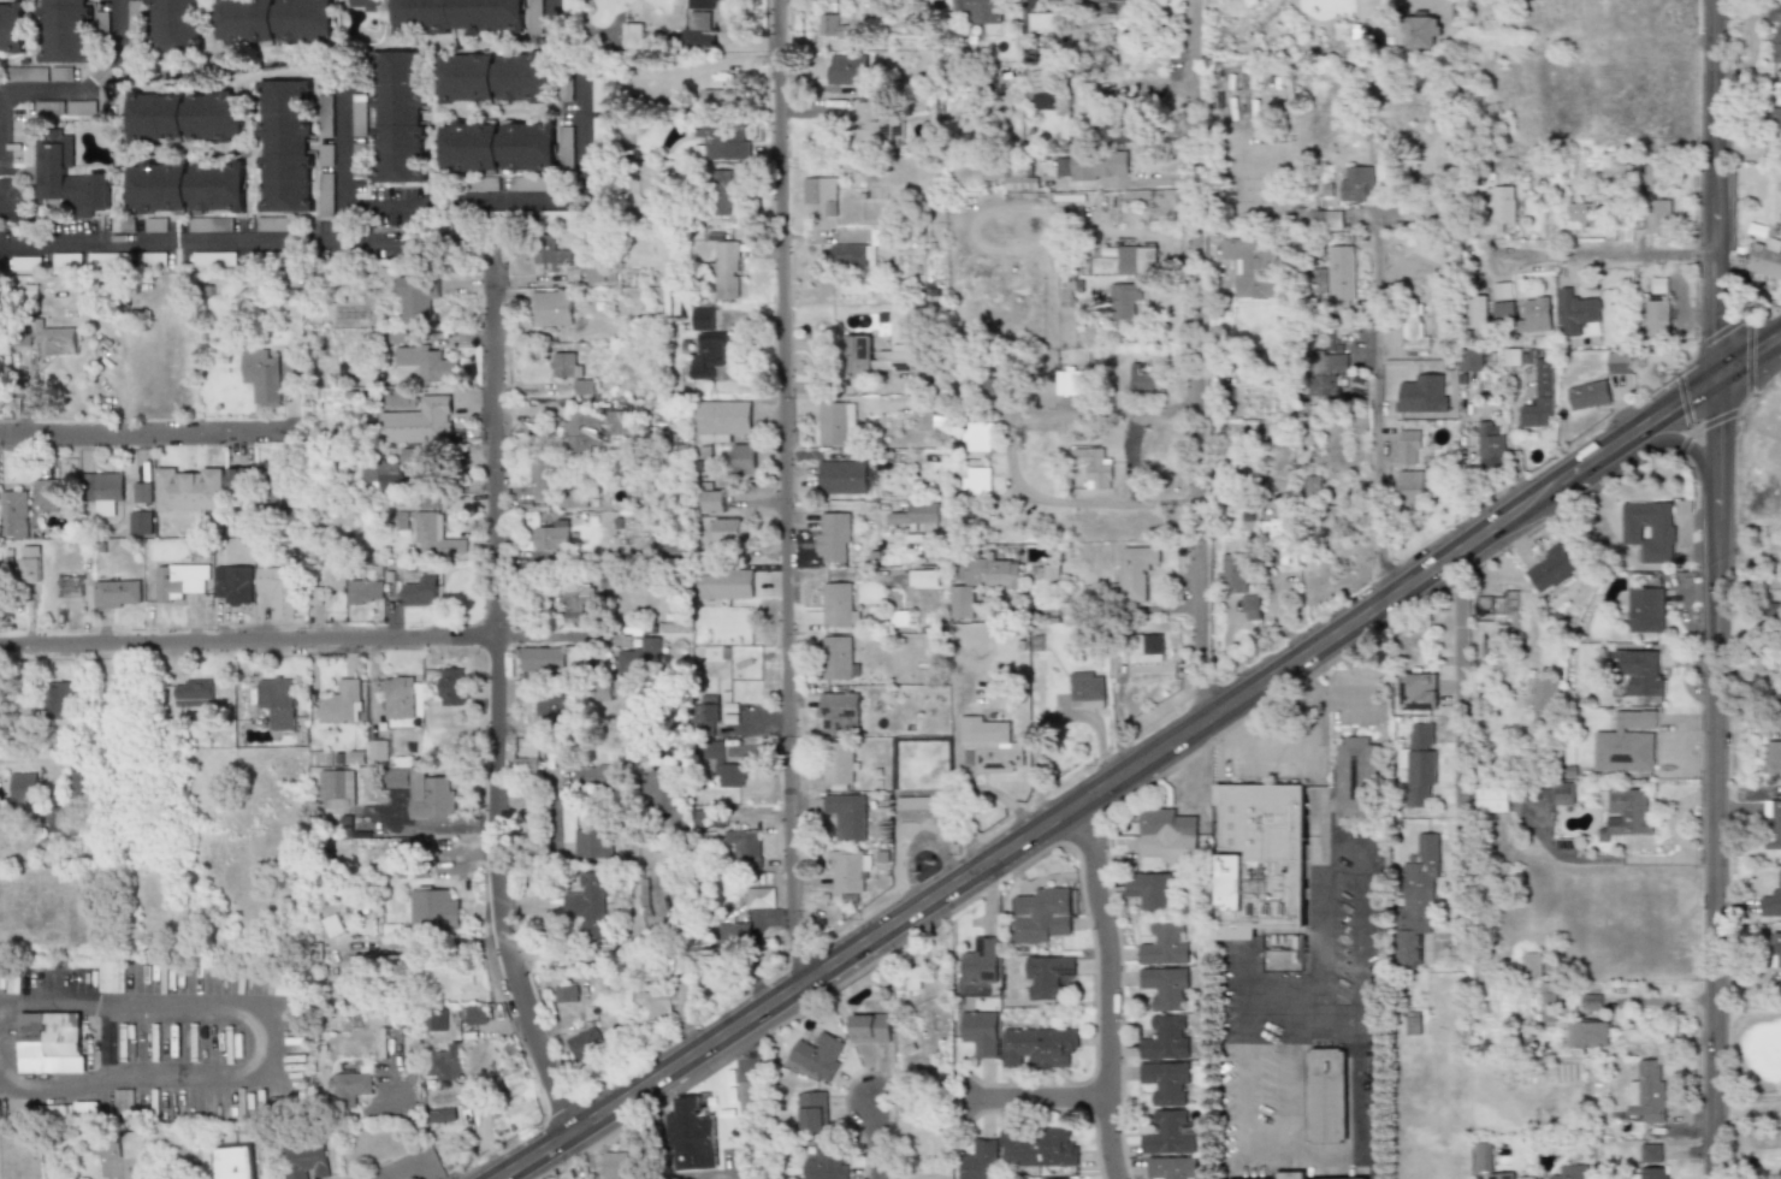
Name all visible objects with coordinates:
road: (1427, 2)
building: (367, 5)
building: (702, 5)
building: (1120, 8)
building: (135, 10)
building: (980, 10)
building: (458, 17)
building: (274, 22)
building: (1048, 23)
building: (177, 25)
building: (12, 26)
building: (835, 28)
building: (66, 30)
building: (1349, 30)
building: (1422, 31)
building: (1774, 34)
building: (634, 35)
building: (699, 38)
building: (848, 69)
road: (1194, 69)
building: (61, 73)
building: (26, 75)
building: (495, 77)
road: (40, 89)
building: (600, 91)
building: (1776, 93)
building: (1046, 96)
building: (721, 100)
building: (185, 117)
building: (398, 117)
building: (1774, 119)
building: (880, 128)
building: (1119, 130)
building: (599, 132)
building: (497, 144)
building: (284, 147)
building: (566, 147)
building: (726, 147)
building: (1094, 165)
road: (342, 167)
building: (1616, 172)
building: (1646, 174)
building: (69, 178)
building: (1022, 178)
building: (1359, 184)
building: (187, 188)
road: (1710, 188)
building: (721, 191)
building: (821, 192)
road: (563, 201)
road: (4, 207)
building: (1499, 209)
building: (1588, 211)
building: (1658, 215)
building: (1326, 219)
road: (460, 223)
building: (208, 224)
building: (273, 224)
road: (20, 225)
building: (888, 236)
road: (407, 241)
road: (483, 241)
road: (187, 244)
road: (17, 247)
building: (550, 253)
building: (853, 255)
road: (1594, 256)
building: (1765, 259)
building: (1138, 260)
building: (724, 267)
building: (1253, 268)
building: (594, 273)
building: (1342, 278)
building: (1658, 285)
building: (1502, 290)
building: (1065, 291)
building: (415, 298)
building: (1123, 301)
building: (551, 308)
building: (1576, 309)
building: (1503, 310)
building: (1477, 313)
building: (1413, 315)
building: (1534, 316)
building: (700, 319)
building: (1657, 324)
building: (58, 338)
building: (856, 354)
road: (1747, 354)
building: (708, 355)
building: (1511, 357)
building: (1472, 360)
building: (426, 362)
building: (894, 362)
building: (1619, 362)
building: (563, 365)
building: (1, 367)
building: (1327, 369)
building: (270, 373)
building: (1140, 379)
road: (1375, 380)
building: (1071, 385)
building: (581, 386)
building: (1539, 395)
building: (1588, 395)
road: (1678, 403)
building: (922, 407)
building: (415, 417)
building: (722, 420)
road: (1195, 423)
building: (836, 425)
road: (1715, 425)
building: (592, 426)
road: (142, 432)
building: (977, 436)
road: (1684, 443)
building: (1410, 444)
building: (1490, 444)
road: (1010, 450)
building: (414, 455)
road: (1130, 457)
building: (742, 460)
building: (1094, 467)
building: (383, 474)
building: (542, 478)
building: (841, 478)
building: (238, 480)
building: (977, 480)
building: (1310, 485)
building: (1409, 487)
building: (189, 488)
building: (283, 488)
road: (785, 488)
building: (103, 490)
building: (142, 492)
building: (47, 494)
building: (712, 502)
building: (14, 514)
building: (917, 514)
building: (141, 522)
building: (430, 531)
building: (722, 531)
building: (1649, 531)
building: (552, 537)
building: (835, 538)
building: (1274, 541)
building: (1550, 568)
building: (30, 569)
building: (1135, 571)
building: (1235, 573)
building: (335, 577)
building: (927, 579)
building: (178, 581)
building: (981, 583)
building: (69, 585)
building: (233, 585)
building: (723, 588)
building: (277, 591)
building: (366, 591)
building: (421, 591)
building: (117, 593)
building: (576, 605)
building: (839, 605)
building: (1250, 606)
road: (1100, 609)
building: (1645, 610)
building: (1495, 618)
road: (556, 636)
road: (247, 639)
building: (1144, 648)
building: (639, 657)
building: (543, 658)
building: (576, 658)
building: (840, 658)
road: (1747, 668)
building: (1638, 671)
road: (496, 685)
building: (451, 686)
building: (1087, 689)
building: (1419, 691)
building: (193, 692)
building: (1544, 694)
building: (58, 697)
building: (401, 698)
building: (278, 700)
building: (1647, 700)
road: (1320, 701)
building: (342, 704)
building: (552, 709)
building: (839, 712)
road: (1457, 730)
building: (26, 731)
building: (1626, 743)
building: (989, 746)
building: (378, 750)
building: (527, 753)
road: (57, 757)
building: (1773, 757)
building: (1419, 764)
building: (839, 765)
building: (727, 771)
building: (594, 775)
building: (1355, 777)
building: (81, 784)
building: (661, 788)
building: (24, 789)
building: (337, 789)
building: (422, 790)
building: (1563, 793)
building: (1492, 799)
building: (917, 810)
road: (1058, 811)
building: (1627, 813)
building: (847, 816)
building: (1775, 824)
road: (1711, 827)
building: (1166, 836)
building: (593, 843)
building: (745, 846)
building: (1260, 858)
building: (848, 871)
building: (1148, 890)
building: (761, 897)
building: (1416, 899)
building: (1771, 900)
building: (591, 902)
building: (433, 908)
building: (1041, 916)
building: (736, 917)
building: (335, 925)
building: (1166, 942)
road: (625, 946)
building: (1775, 950)
building: (981, 960)
building: (1531, 965)
building: (375, 967)
building: (1047, 976)
building: (909, 980)
building: (288, 987)
road: (1111, 987)
building: (1164, 987)
road: (1315, 991)
building: (567, 994)
building: (662, 999)
building: (1591, 1002)
road: (1745, 1005)
building: (474, 1014)
building: (437, 1020)
building: (1412, 1021)
building: (870, 1026)
building: (980, 1032)
building: (1588, 1035)
building: (1167, 1037)
building: (52, 1042)
road: (261, 1042)
building: (586, 1044)
building: (1037, 1045)
building: (817, 1056)
road: (1248, 1057)
building: (444, 1062)
building: (515, 1078)
building: (1166, 1082)
building: (749, 1083)
building: (355, 1086)
building: (1325, 1095)
road: (1018, 1096)
building: (1647, 1096)
road: (1745, 1098)
building: (124, 1104)
building: (87, 1109)
building: (812, 1112)
building: (440, 1114)
building: (1170, 1133)
building: (692, 1134)
building: (1039, 1147)
road: (876, 1149)
building: (1651, 1153)
building: (1481, 1157)
building: (307, 1159)
road: (1312, 1159)
building: (980, 1160)
building: (823, 1161)
building: (233, 1162)
building: (616, 1165)
building: (1173, 1167)
building: (1573, 1172)
building: (1653, 1173)
building: (1289, 1174)
building: (1501, 1175)

